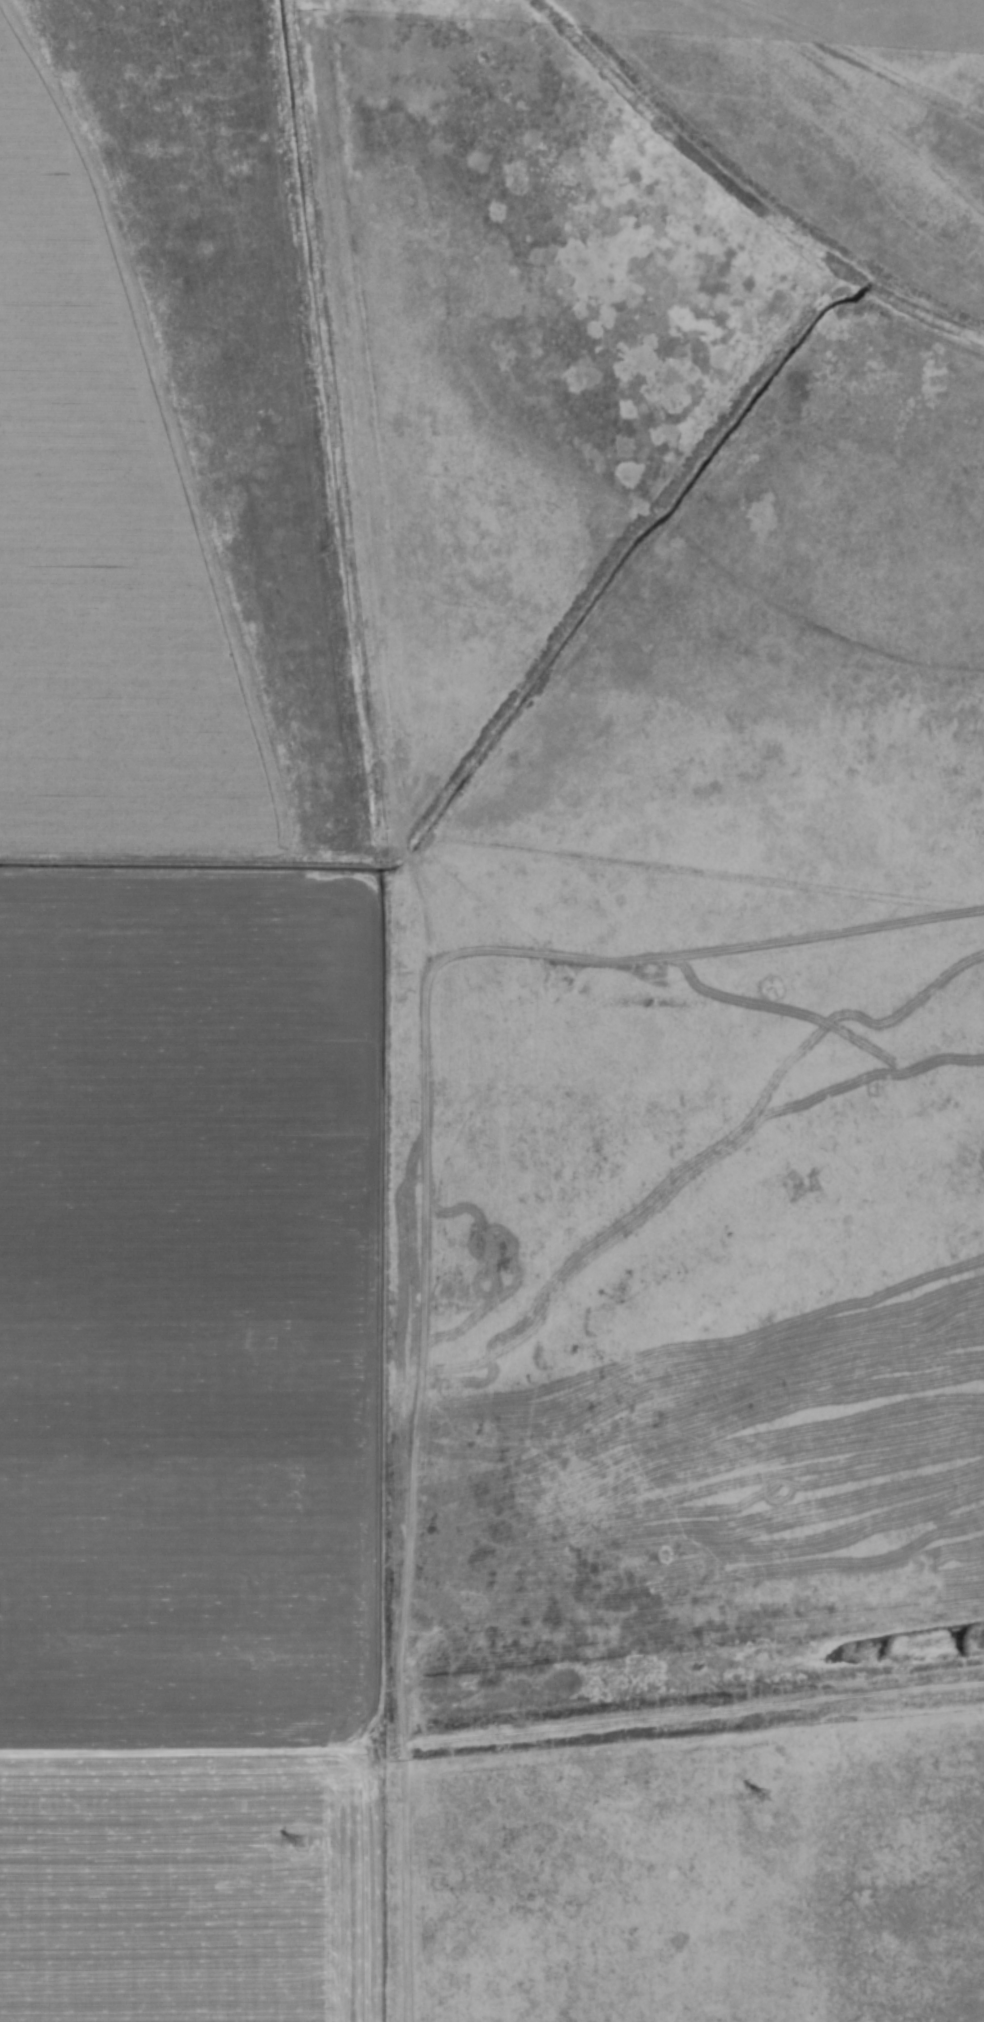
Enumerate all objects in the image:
power tower: (784, 1795)
power tower: (301, 1845)

